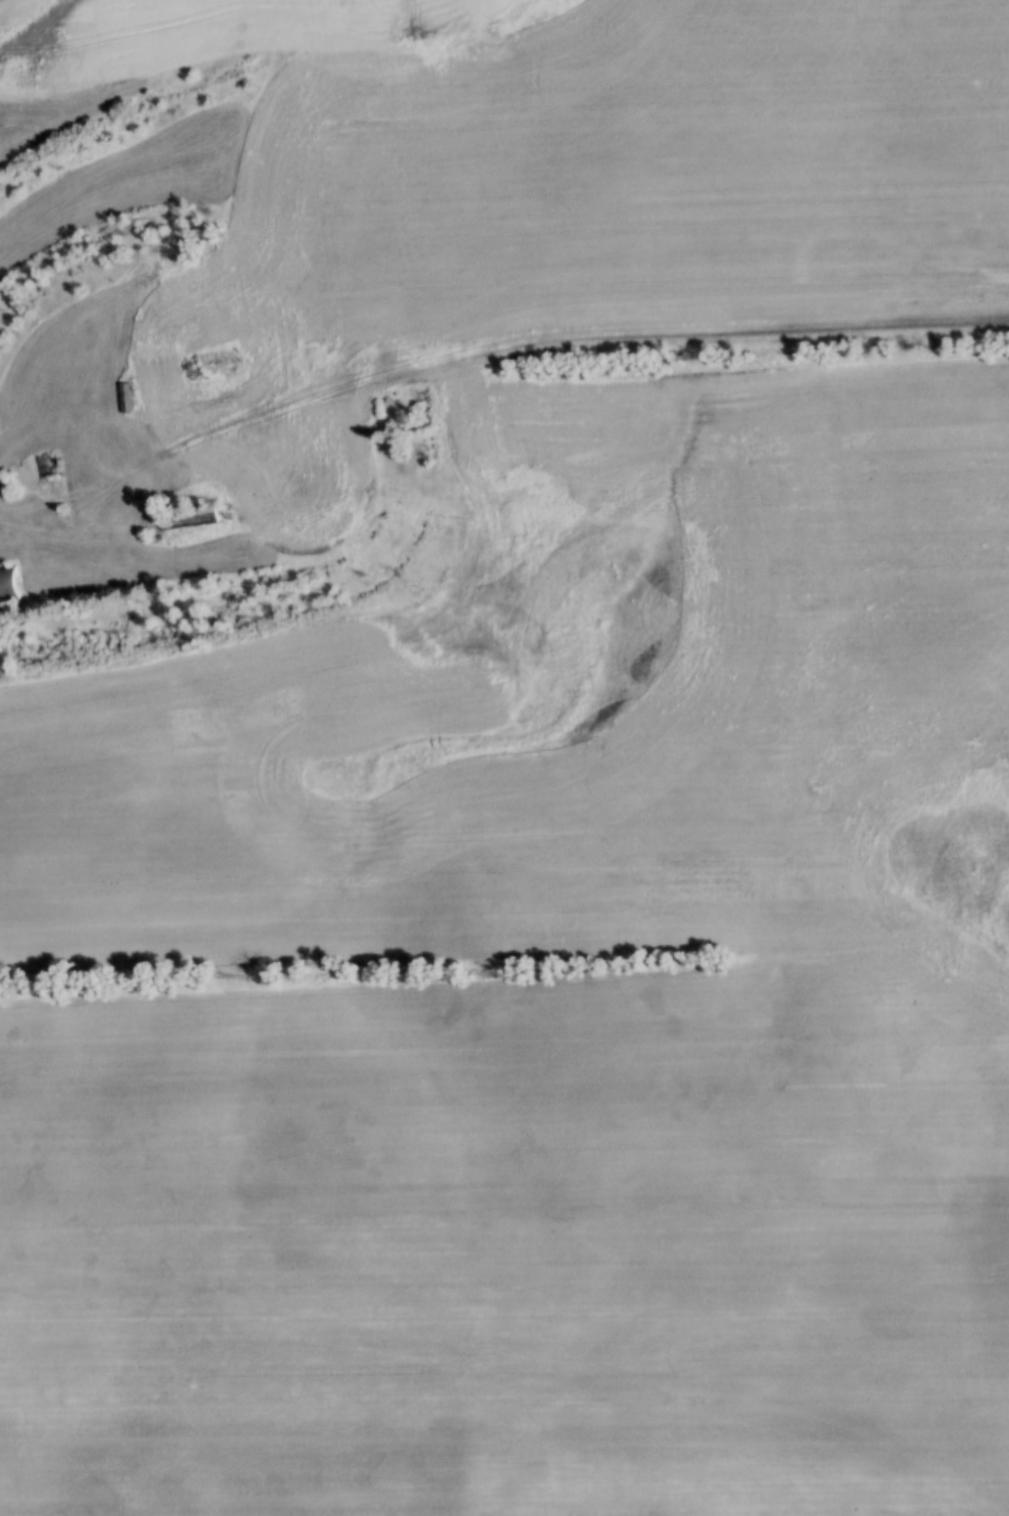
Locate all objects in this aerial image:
road: (488, 349)
building: (125, 400)
building: (44, 467)
building: (190, 519)
building: (10, 587)
road: (488, 1359)

